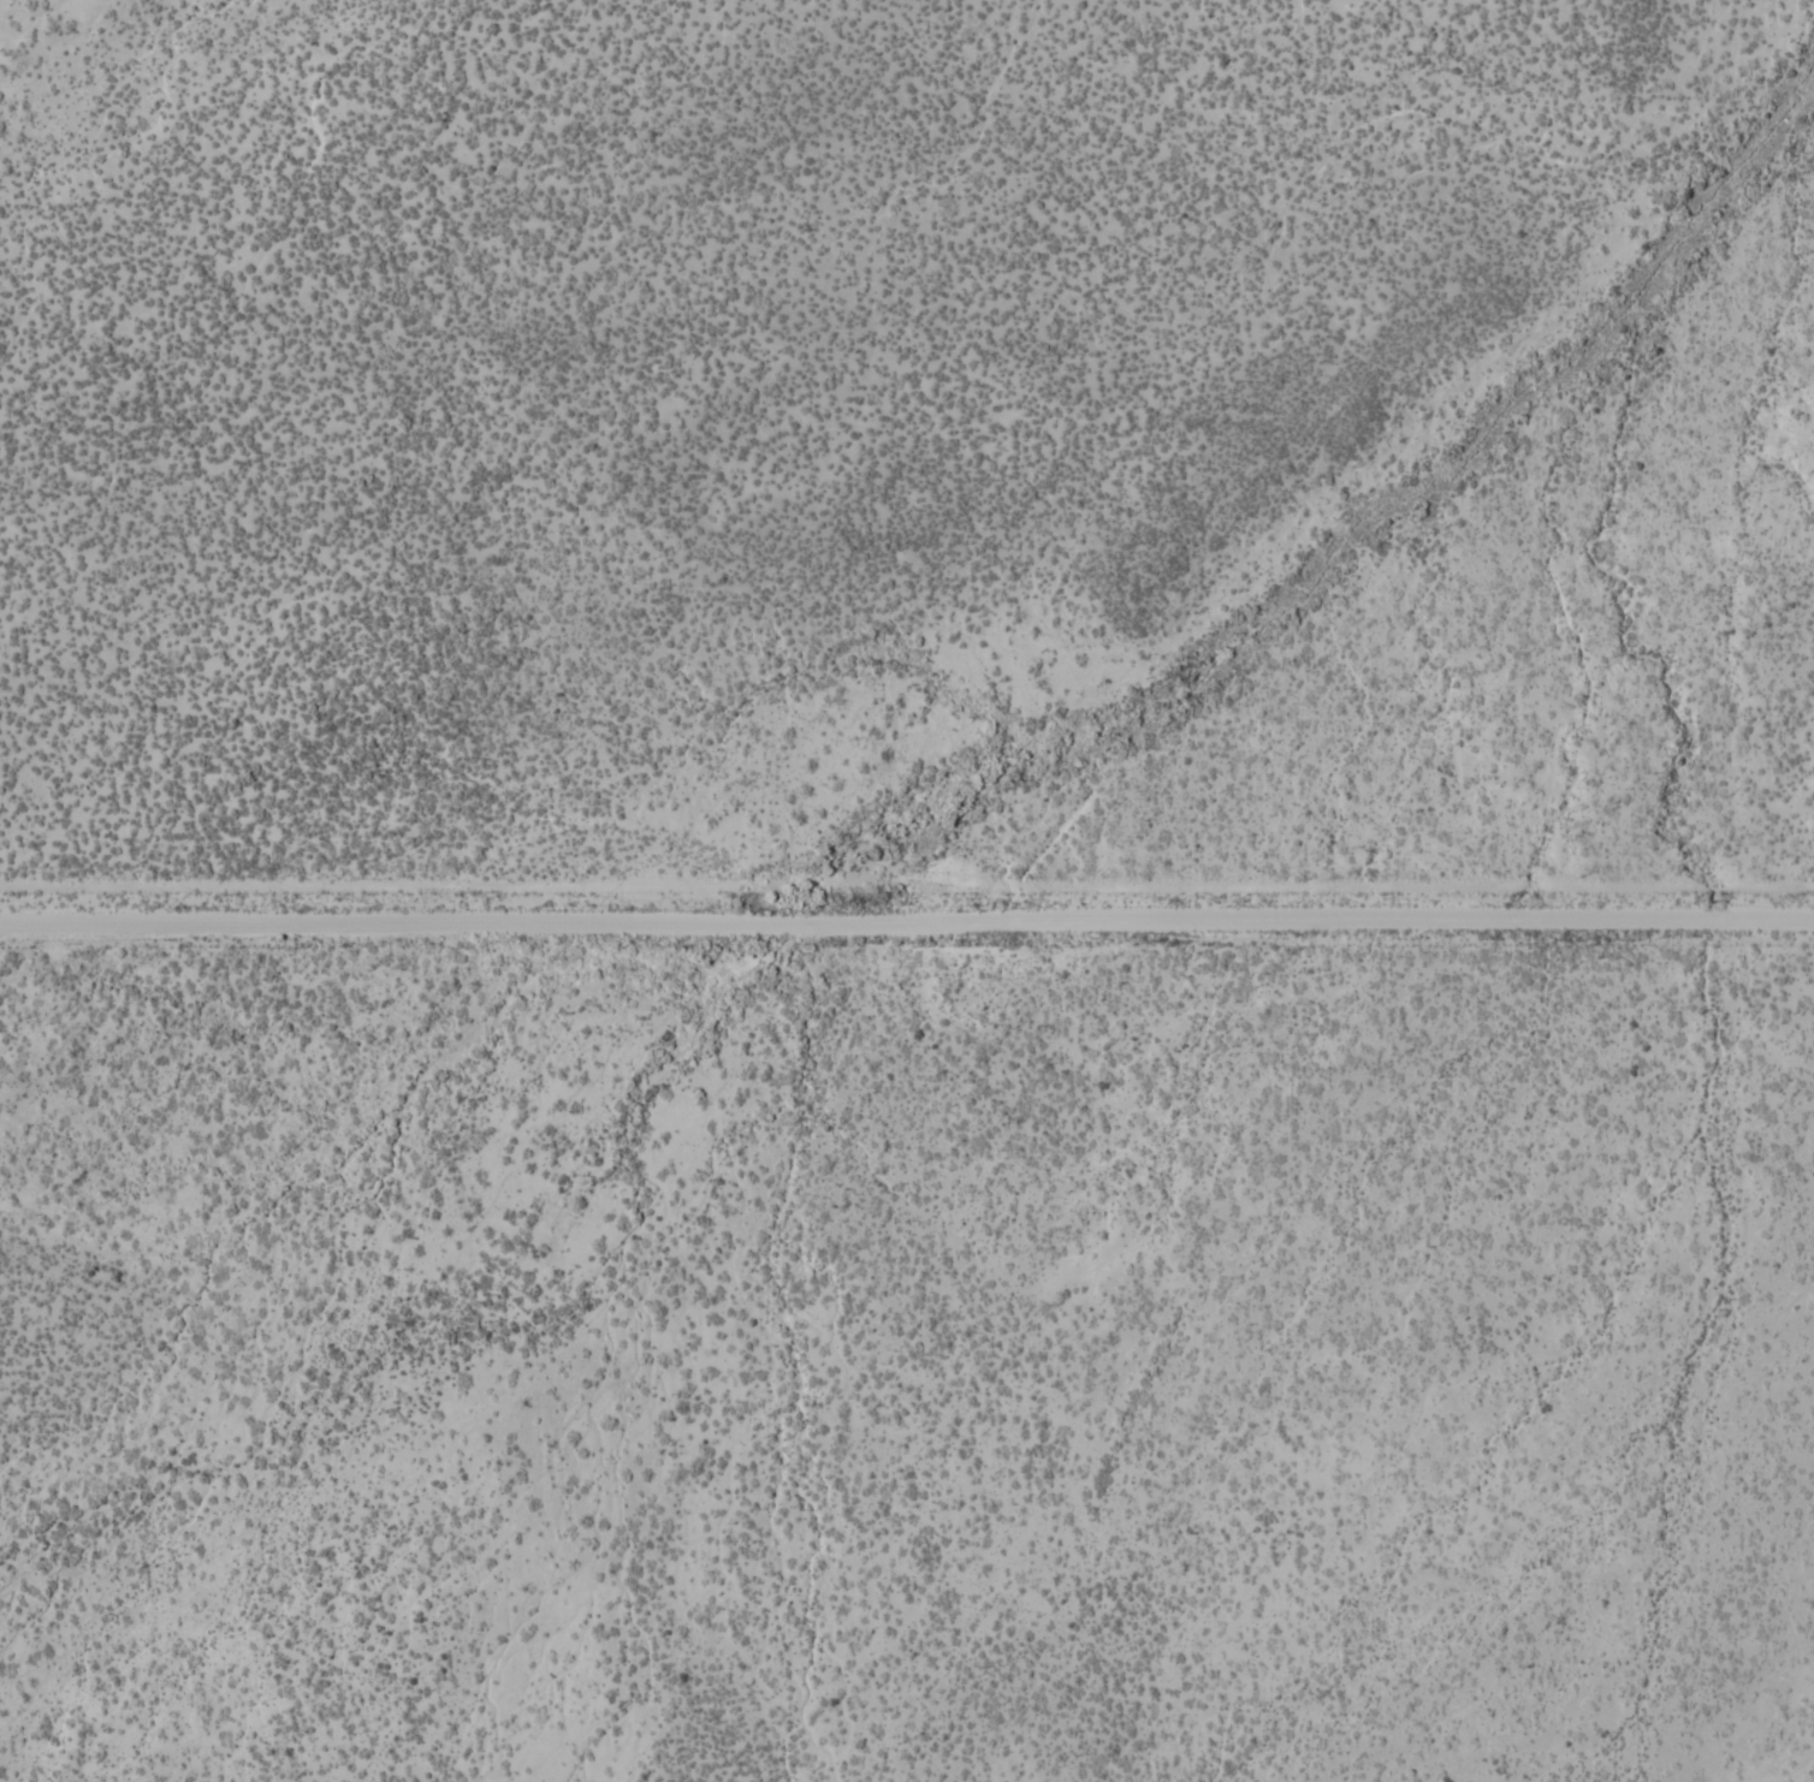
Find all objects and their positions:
road: (906, 880)
road: (907, 923)

